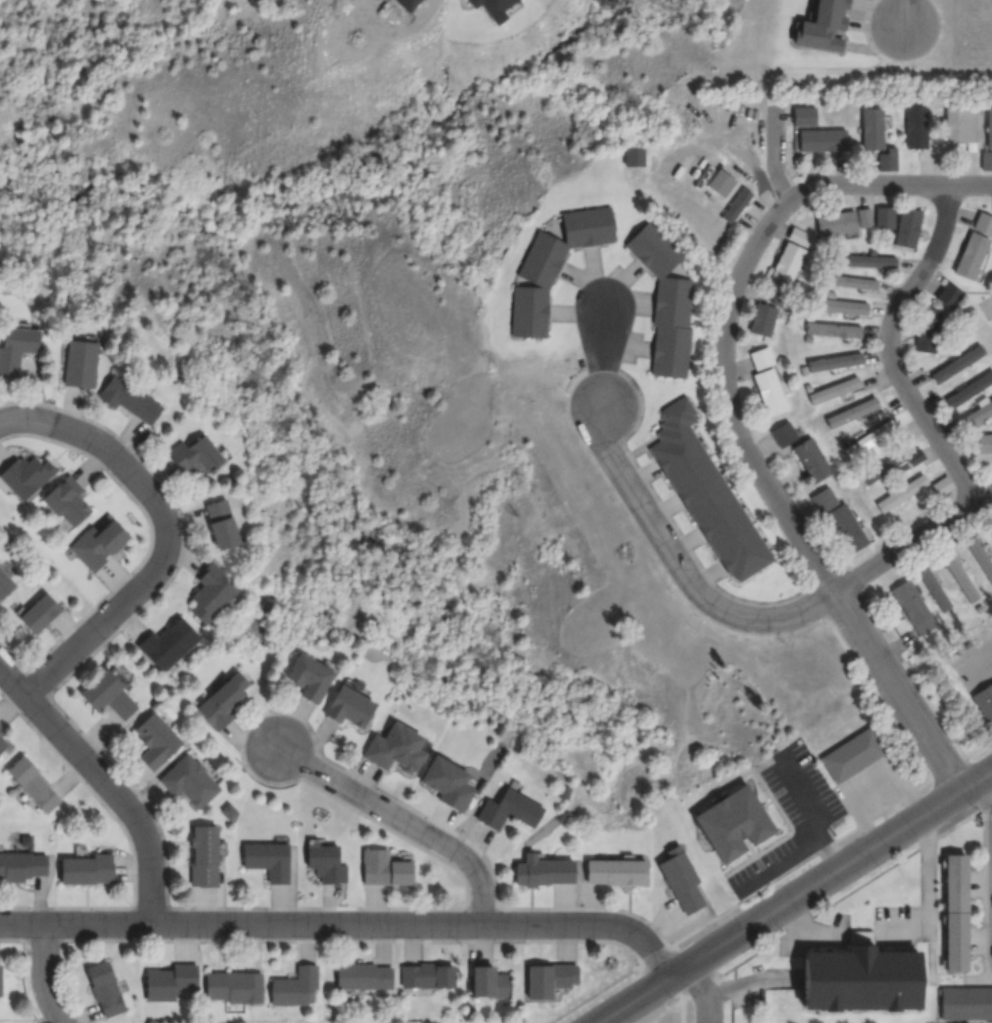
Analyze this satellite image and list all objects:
building: (478, 1)
building: (499, 5)
road: (902, 14)
building: (821, 24)
building: (803, 115)
building: (960, 125)
building: (916, 126)
building: (988, 127)
building: (876, 138)
building: (822, 140)
road: (780, 152)
building: (636, 155)
building: (986, 161)
building: (720, 182)
road: (970, 184)
building: (735, 205)
building: (863, 217)
building: (883, 218)
building: (835, 223)
building: (586, 225)
building: (907, 227)
building: (974, 246)
building: (651, 247)
building: (790, 258)
building: (541, 259)
building: (871, 261)
building: (852, 282)
building: (948, 295)
building: (673, 301)
building: (839, 306)
building: (529, 312)
building: (762, 319)
building: (832, 329)
building: (926, 329)
road: (887, 346)
building: (16, 348)
building: (669, 351)
building: (82, 362)
building: (834, 362)
building: (956, 363)
building: (767, 381)
building: (969, 388)
building: (834, 389)
building: (129, 398)
building: (851, 412)
building: (977, 413)
road: (739, 435)
building: (868, 437)
building: (984, 443)
building: (801, 451)
building: (196, 455)
building: (889, 466)
building: (27, 475)
building: (912, 491)
building: (708, 493)
building: (68, 501)
building: (839, 519)
building: (222, 523)
building: (991, 525)
road: (166, 531)
building: (98, 544)
building: (980, 558)
building: (959, 576)
building: (5, 584)
building: (933, 588)
building: (213, 593)
road: (708, 602)
building: (912, 607)
building: (40, 613)
building: (169, 643)
building: (311, 676)
building: (108, 694)
building: (984, 699)
building: (223, 701)
building: (351, 706)
building: (1, 729)
building: (157, 741)
building: (2, 744)
building: (399, 748)
building: (853, 754)
building: (190, 781)
building: (446, 781)
road: (105, 782)
building: (34, 785)
building: (510, 809)
building: (230, 810)
parking lot: (793, 814)
road: (397, 822)
building: (734, 823)
building: (205, 856)
building: (268, 859)
building: (328, 862)
building: (20, 865)
building: (385, 868)
building: (87, 869)
building: (543, 871)
building: (618, 871)
road: (989, 875)
building: (683, 879)
road: (793, 896)
building: (958, 912)
road: (344, 926)
building: (363, 974)
road: (45, 975)
building: (428, 975)
building: (551, 979)
building: (0, 980)
building: (866, 980)
building: (170, 982)
building: (490, 983)
building: (231, 986)
building: (295, 987)
building: (107, 989)
road: (703, 991)
building: (965, 1003)

